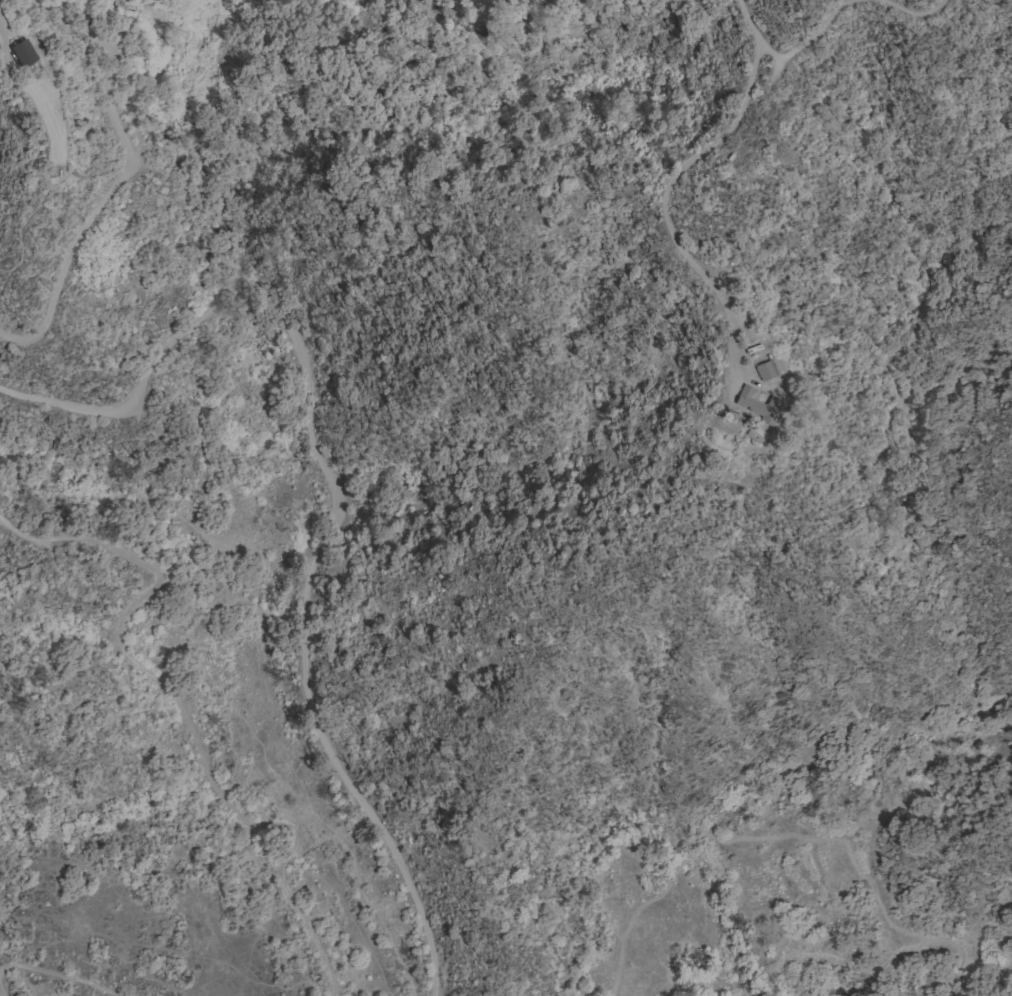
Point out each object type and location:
road: (912, 15)
road: (791, 53)
building: (20, 54)
road: (104, 197)
road: (663, 200)
building: (762, 370)
building: (755, 404)
building: (750, 435)
road: (331, 461)
road: (181, 711)
road: (736, 838)
road: (931, 960)
road: (874, 965)
road: (57, 972)
road: (0, 994)

